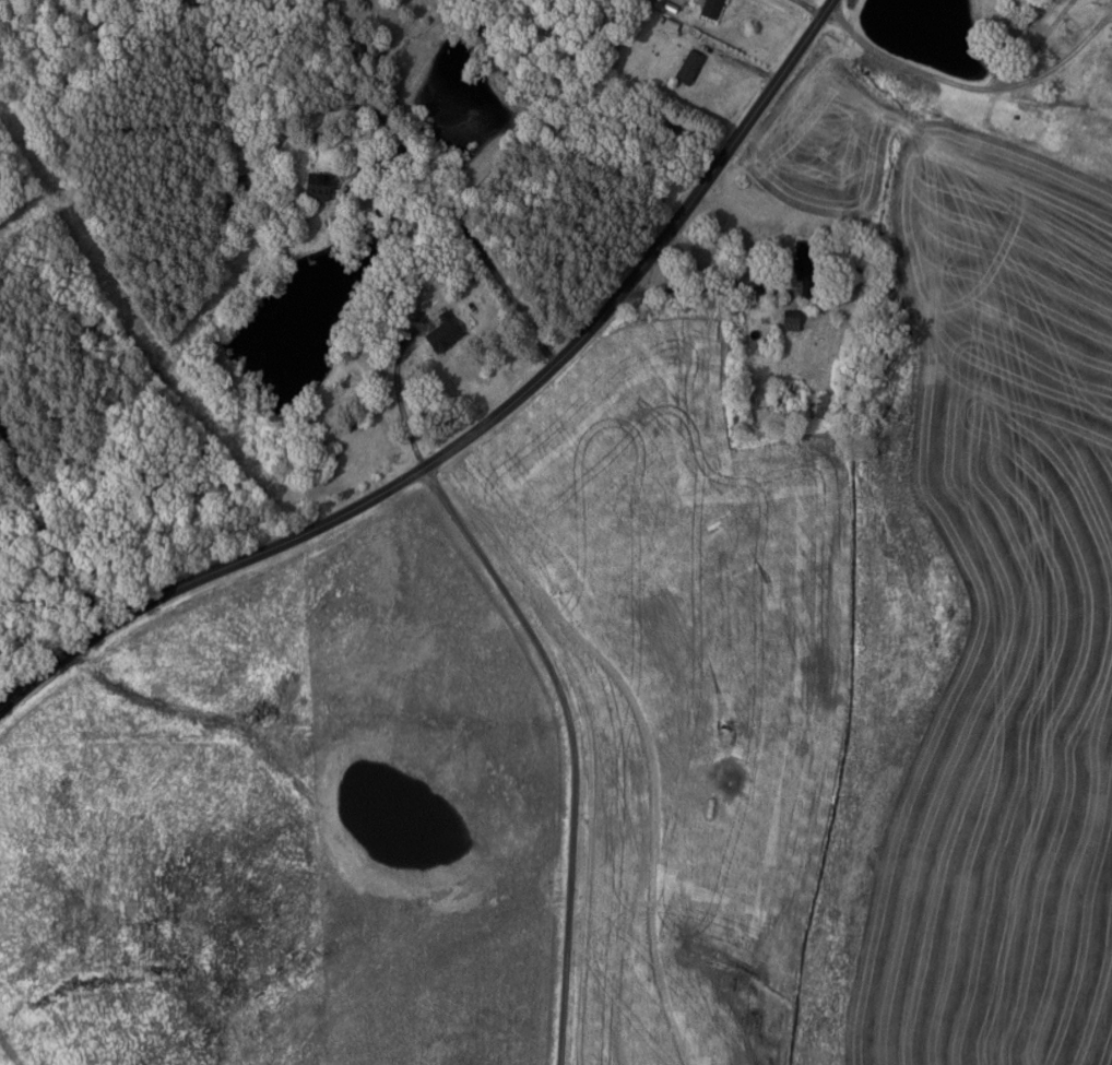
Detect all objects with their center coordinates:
building: (670, 8)
road: (809, 8)
building: (710, 9)
road: (1039, 44)
road: (1066, 58)
road: (742, 62)
road: (908, 66)
building: (687, 68)
building: (1105, 72)
road: (572, 104)
road: (306, 110)
crop: (819, 143)
building: (1092, 147)
building: (322, 185)
building: (806, 268)
road: (709, 287)
building: (790, 321)
building: (440, 331)
road: (395, 395)
building: (825, 404)
road: (478, 429)
road: (46, 518)
crop: (989, 643)
crop: (679, 672)
road: (12, 675)
road: (573, 746)

